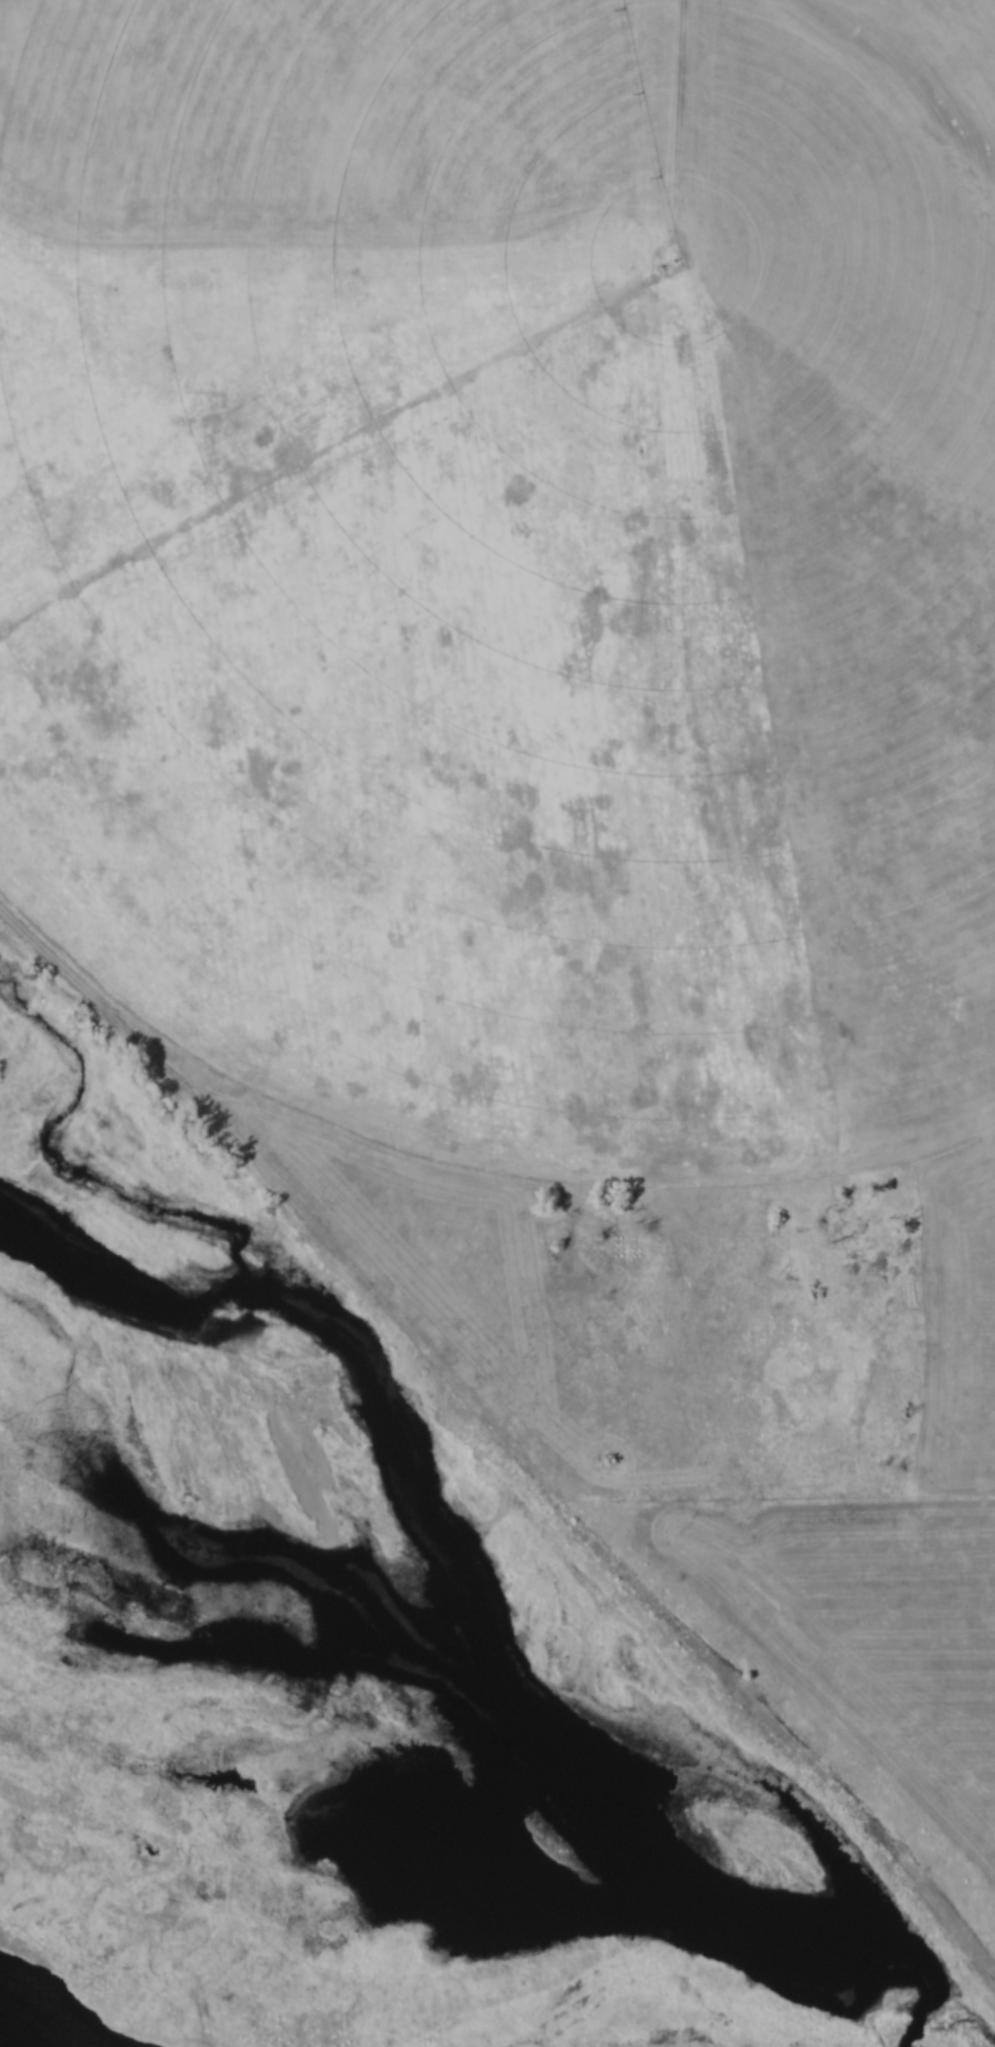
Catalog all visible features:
river: (0, 2046)

